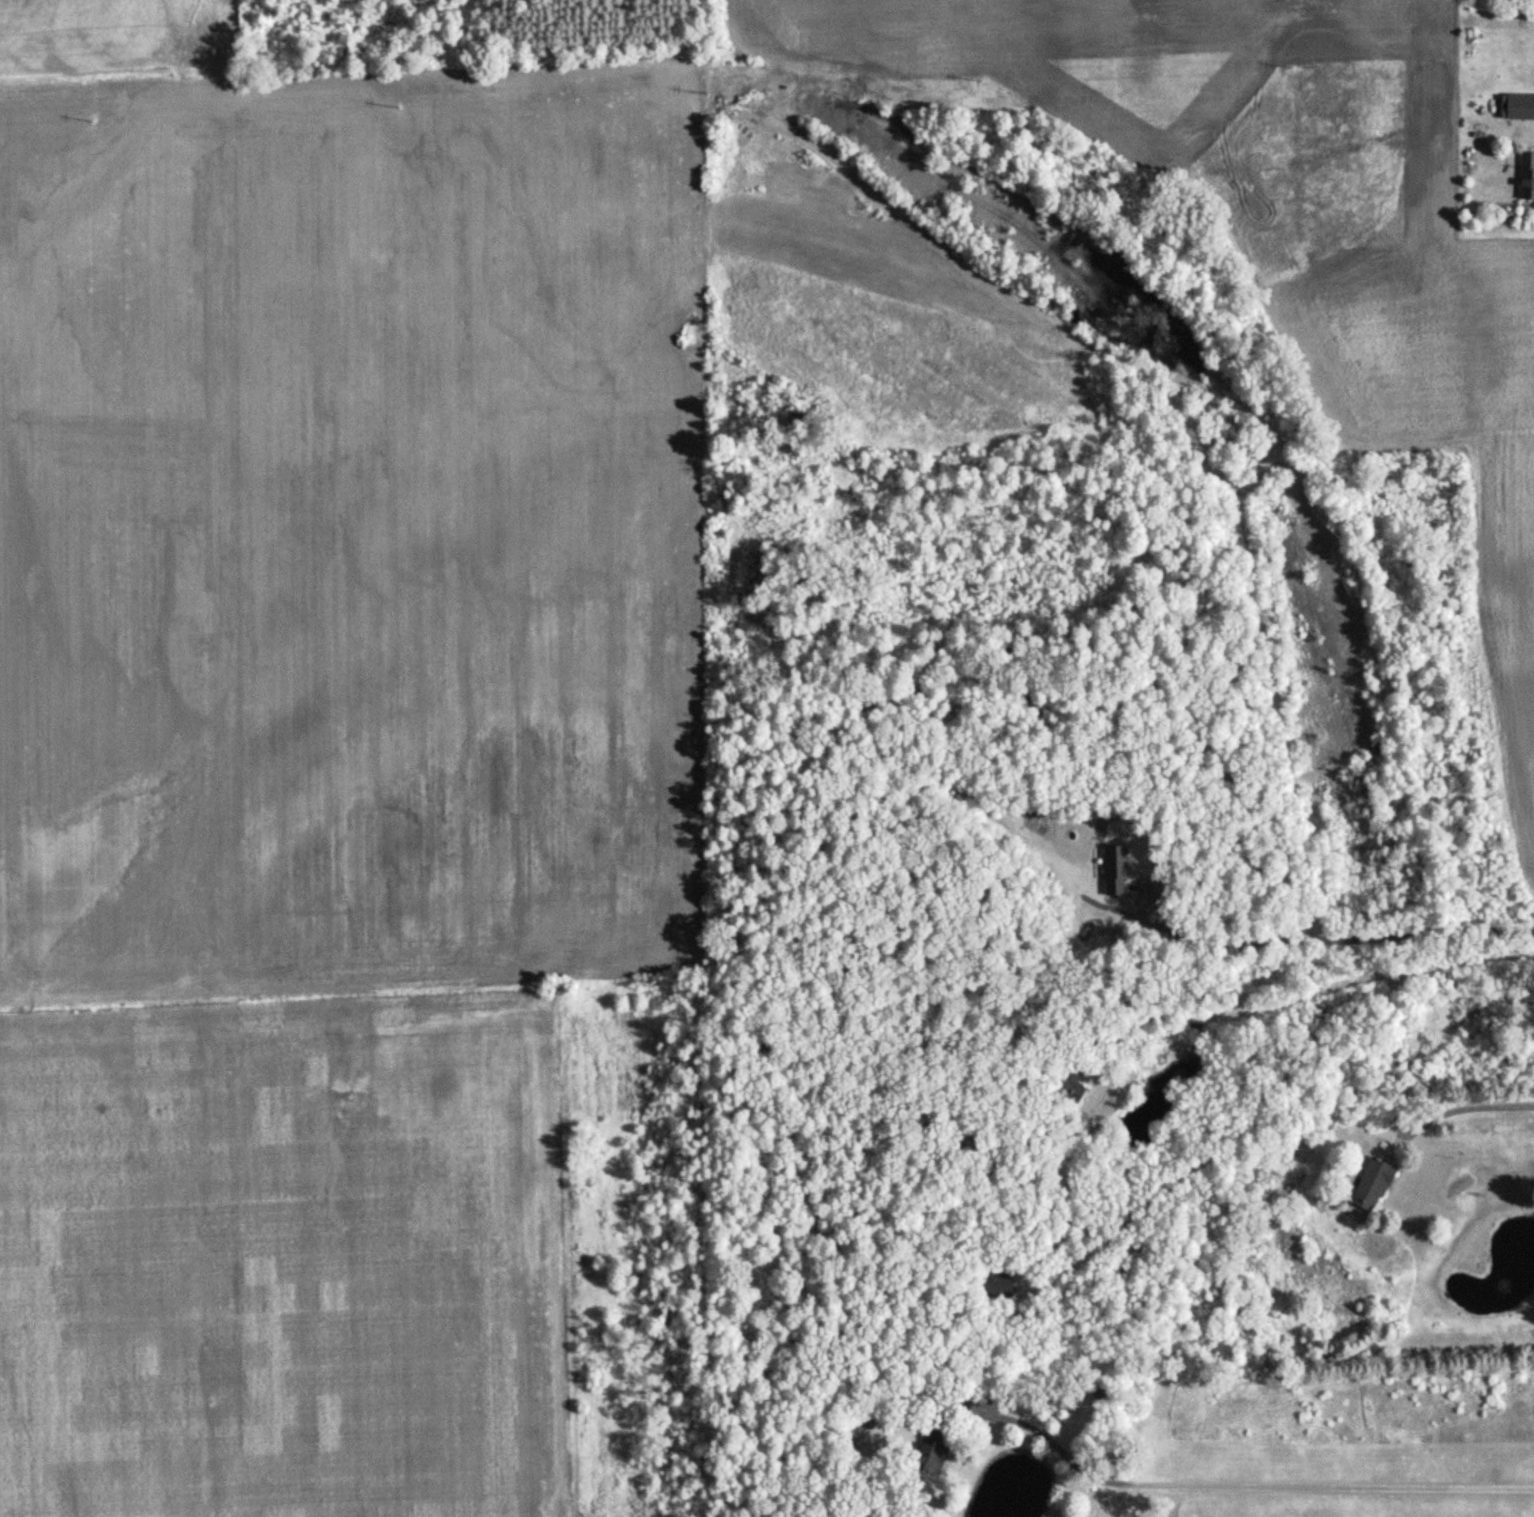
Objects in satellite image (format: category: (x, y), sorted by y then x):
building: (1530, 108)
building: (1525, 177)
road: (1325, 938)
road: (1348, 979)
building: (1062, 1085)
road: (1459, 1104)
building: (1369, 1185)
building: (988, 1283)
building: (926, 1458)

